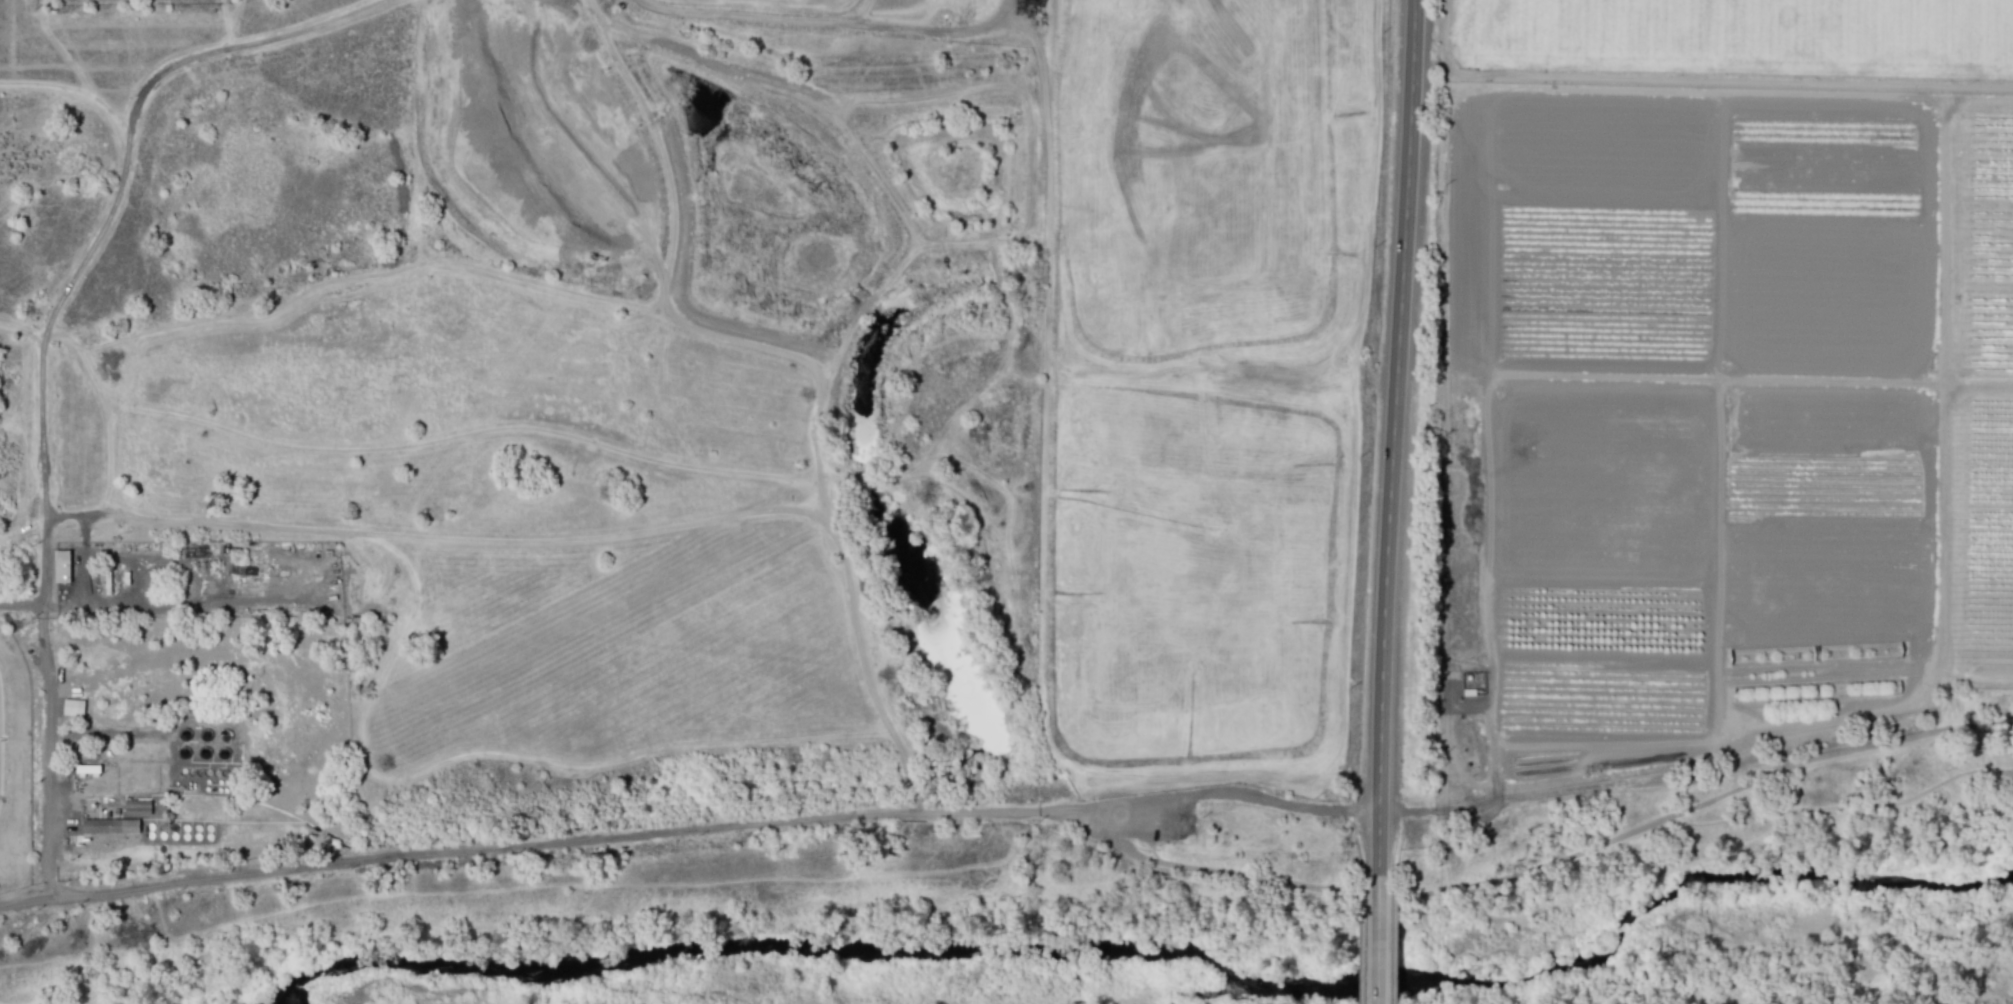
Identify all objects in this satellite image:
road: (757, 18)
road: (930, 33)
road: (1697, 77)
road: (1698, 89)
road: (1979, 95)
road: (1752, 378)
road: (1391, 436)
building: (61, 565)
road: (1490, 580)
road: (107, 607)
road: (1941, 617)
road: (1973, 682)
building: (73, 705)
road: (49, 710)
road: (108, 733)
building: (85, 769)
road: (2006, 769)
road: (1585, 792)
road: (1227, 793)
road: (1495, 795)
building: (137, 806)
parking lot: (1196, 815)
road: (1738, 815)
building: (109, 824)
road: (1109, 838)
road: (537, 842)
road: (1587, 847)
road: (1689, 864)
road: (1305, 935)
road: (1377, 939)
river: (1143, 950)

